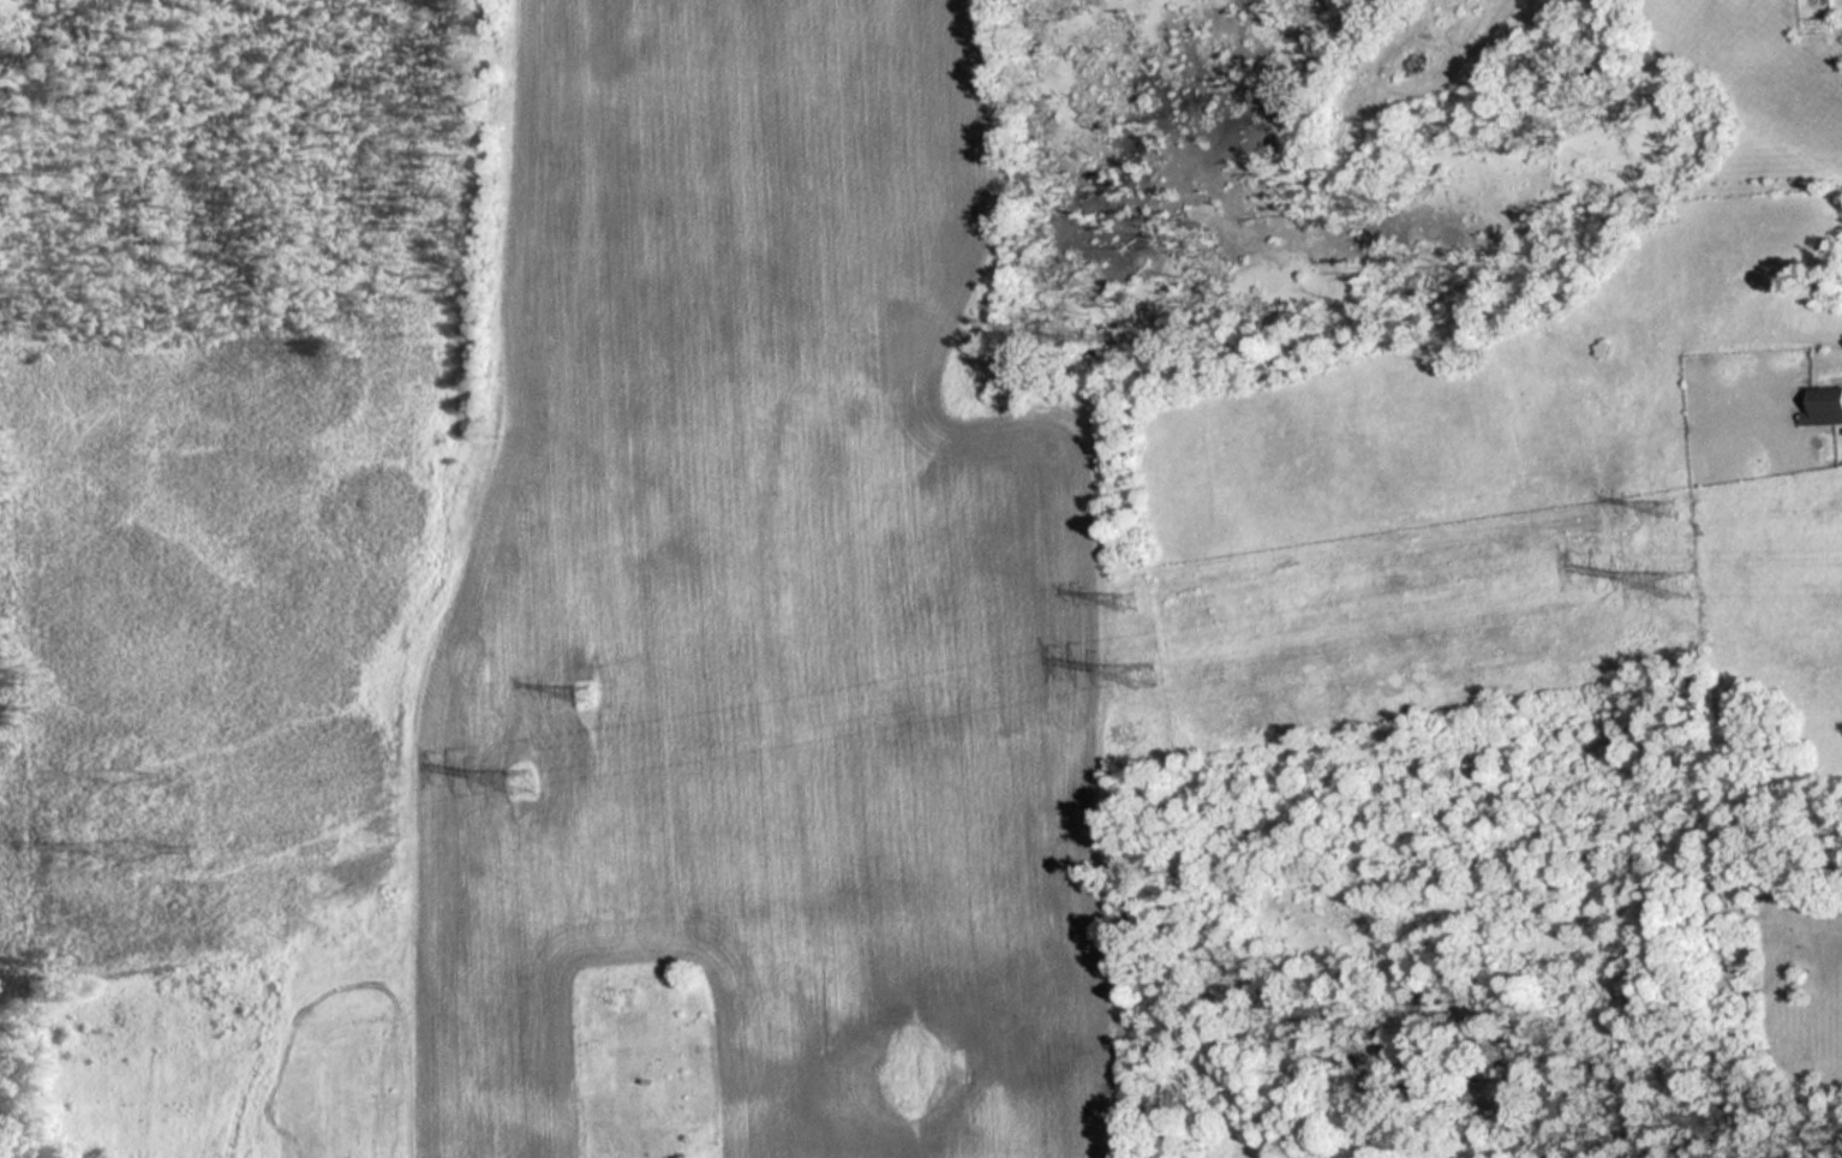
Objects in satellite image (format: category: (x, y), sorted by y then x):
building: (1607, 347)
building: (1823, 404)
power tower: (1659, 508)
power tower: (1677, 583)
power tower: (1126, 602)
power tower: (1140, 675)
power tower: (596, 698)
power tower: (118, 772)
power tower: (526, 780)
power tower: (139, 842)

